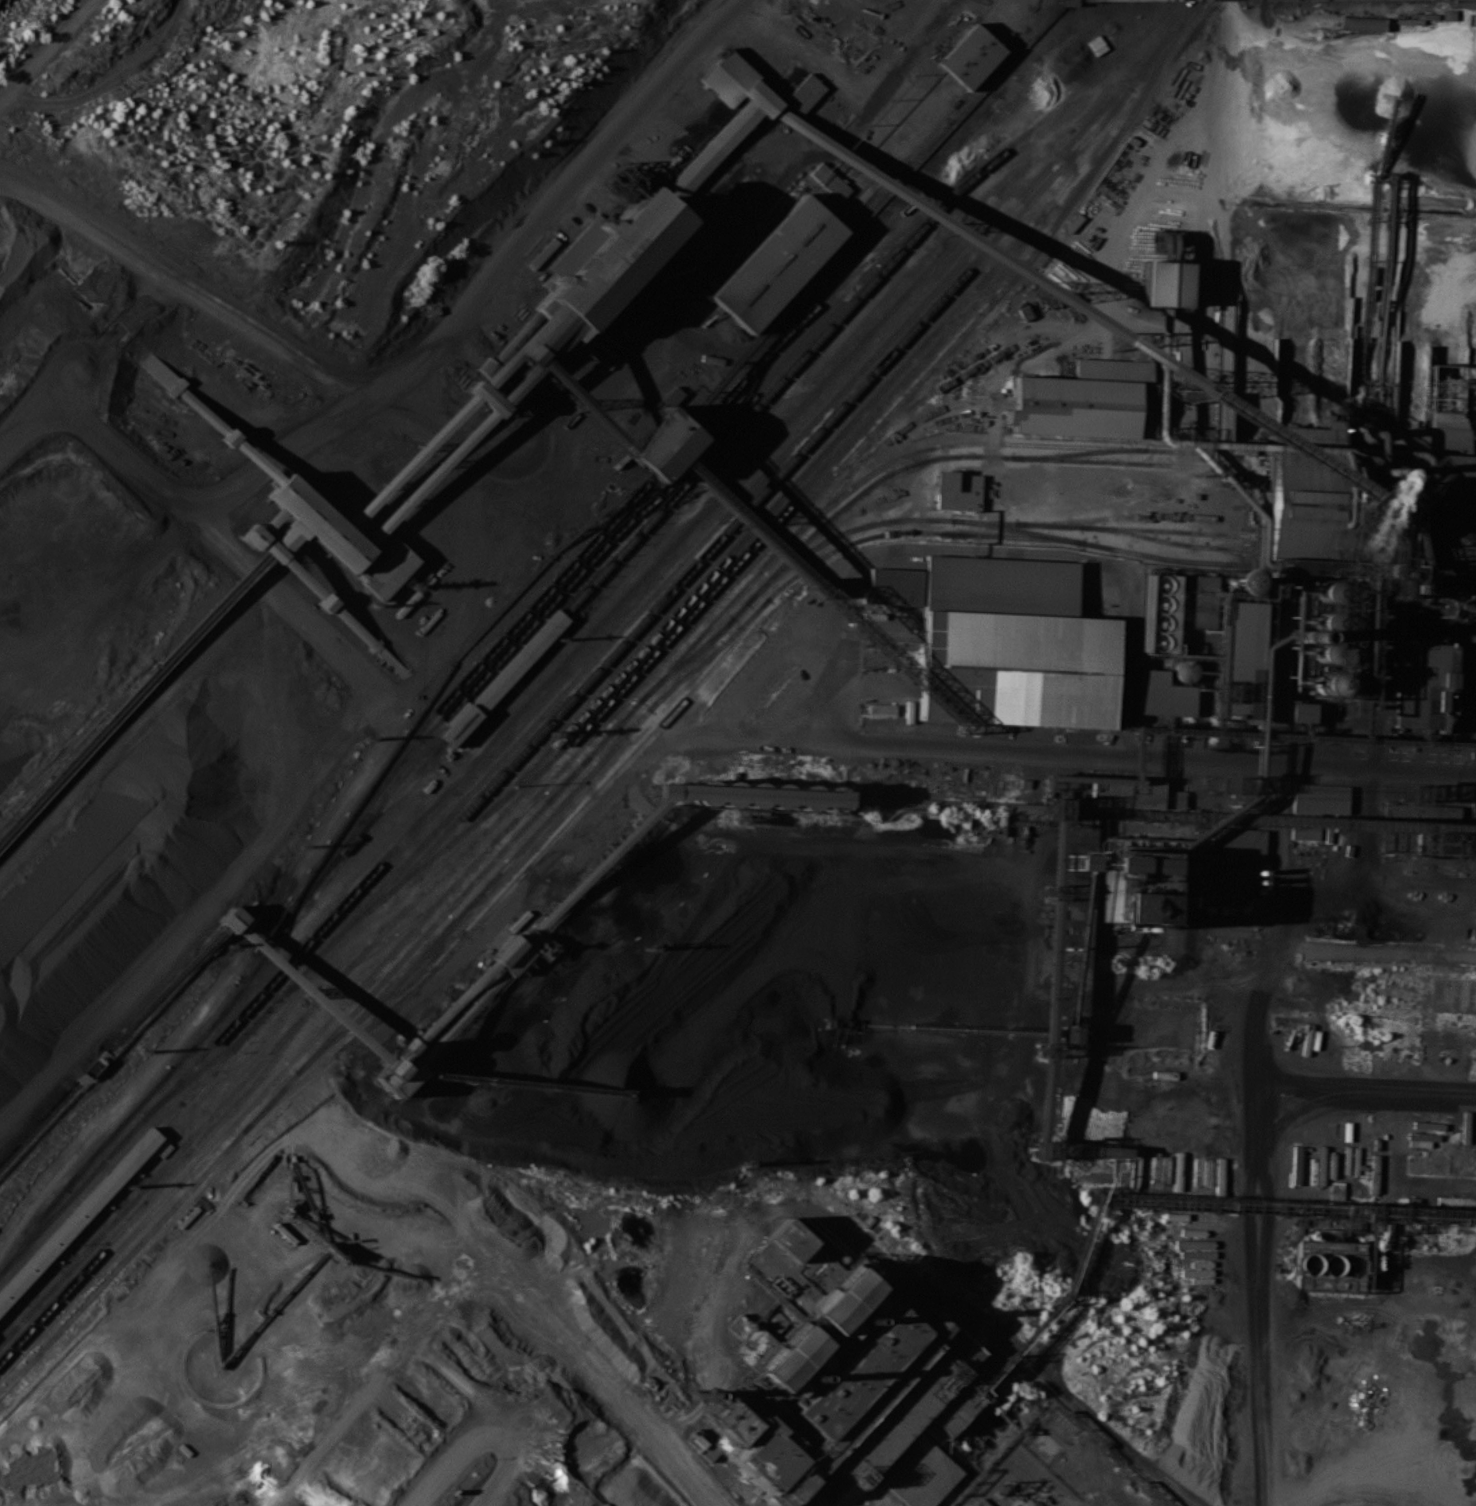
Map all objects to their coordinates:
building: (1068, 3)
road: (1250, 11)
building: (970, 56)
railway: (1159, 63)
railway: (1161, 71)
building: (727, 77)
building: (805, 92)
building: (760, 98)
road: (856, 99)
railway: (1084, 150)
building: (709, 153)
building: (829, 181)
road: (557, 198)
road: (1208, 210)
road: (1338, 235)
building: (611, 255)
building: (774, 263)
building: (1164, 282)
railway: (856, 294)
building: (1065, 305)
road: (242, 318)
building: (630, 324)
road: (1195, 329)
building: (542, 338)
railway: (776, 340)
building: (514, 345)
building: (155, 368)
building: (512, 384)
building: (177, 387)
building: (1441, 393)
building: (673, 395)
building: (483, 398)
building: (1068, 406)
building: (1130, 406)
building: (583, 407)
railway: (797, 408)
building: (204, 411)
road: (28, 416)
railway: (920, 417)
road: (994, 421)
building: (230, 435)
chimney: (1348, 438)
building: (662, 445)
railway: (1134, 448)
railway: (1077, 452)
railway: (671, 454)
railway: (1362, 459)
building: (256, 460)
building: (409, 461)
railway: (1116, 461)
railway: (887, 462)
railway: (1469, 464)
railway: (1361, 472)
railway: (1469, 477)
building: (426, 478)
road: (152, 479)
road: (1190, 482)
railway: (749, 489)
building: (957, 489)
building: (1360, 505)
railway: (814, 511)
railway: (1095, 518)
building: (270, 519)
railway: (733, 520)
building: (317, 521)
railway: (1359, 524)
railway: (1136, 527)
railway: (1468, 529)
building: (289, 535)
railway: (1011, 536)
railway: (830, 537)
railway: (608, 538)
railway: (1358, 539)
railway: (1167, 541)
building: (262, 542)
railway: (1467, 544)
railway: (1103, 545)
road: (1053, 552)
railway: (1357, 554)
railway: (1467, 559)
railway: (724, 560)
railway: (732, 565)
railway: (1357, 569)
railway: (1467, 574)
building: (360, 575)
building: (393, 575)
building: (302, 577)
railway: (733, 581)
building: (999, 584)
building: (890, 585)
railway: (778, 589)
building: (326, 601)
building: (1158, 611)
building: (352, 623)
building: (1475, 633)
building: (374, 645)
railway: (686, 659)
building: (1238, 659)
building: (393, 661)
building: (1015, 667)
road: (1469, 669)
building: (504, 677)
railway: (504, 677)
building: (1424, 685)
building: (1163, 692)
building: (881, 709)
railway: (433, 713)
building: (1301, 713)
road: (1474, 744)
railway: (600, 761)
road: (621, 769)
building: (1125, 792)
building: (747, 793)
railway: (541, 799)
building: (1175, 799)
railway: (373, 818)
building: (1303, 834)
building: (1237, 841)
road: (1277, 852)
building: (1133, 866)
building: (594, 867)
railway: (517, 877)
building: (1225, 886)
railway: (463, 891)
building: (1131, 907)
railway: (331, 913)
building: (232, 919)
railway: (369, 943)
building: (510, 954)
building: (310, 994)
building: (453, 1005)
building: (459, 1017)
road: (1241, 1024)
road: (1149, 1036)
railway: (242, 1039)
road: (1191, 1056)
railway: (243, 1063)
railway: (202, 1067)
building: (395, 1070)
road: (1305, 1083)
railway: (124, 1123)
railway: (229, 1128)
building: (907, 1166)
building: (1295, 1171)
railway: (160, 1184)
building: (864, 1186)
railway: (66, 1203)
building: (81, 1213)
railway: (77, 1216)
road: (517, 1230)
building: (680, 1230)
building: (927, 1241)
railway: (128, 1255)
building: (783, 1256)
railway: (78, 1258)
building: (901, 1261)
building: (1327, 1265)
road: (1261, 1291)
building: (831, 1298)
road: (1392, 1305)
building: (1014, 1312)
building: (934, 1326)
building: (962, 1342)
building: (782, 1358)
building: (852, 1372)
building: (763, 1460)
building: (921, 1474)
building: (811, 1498)
road: (1329, 1499)

